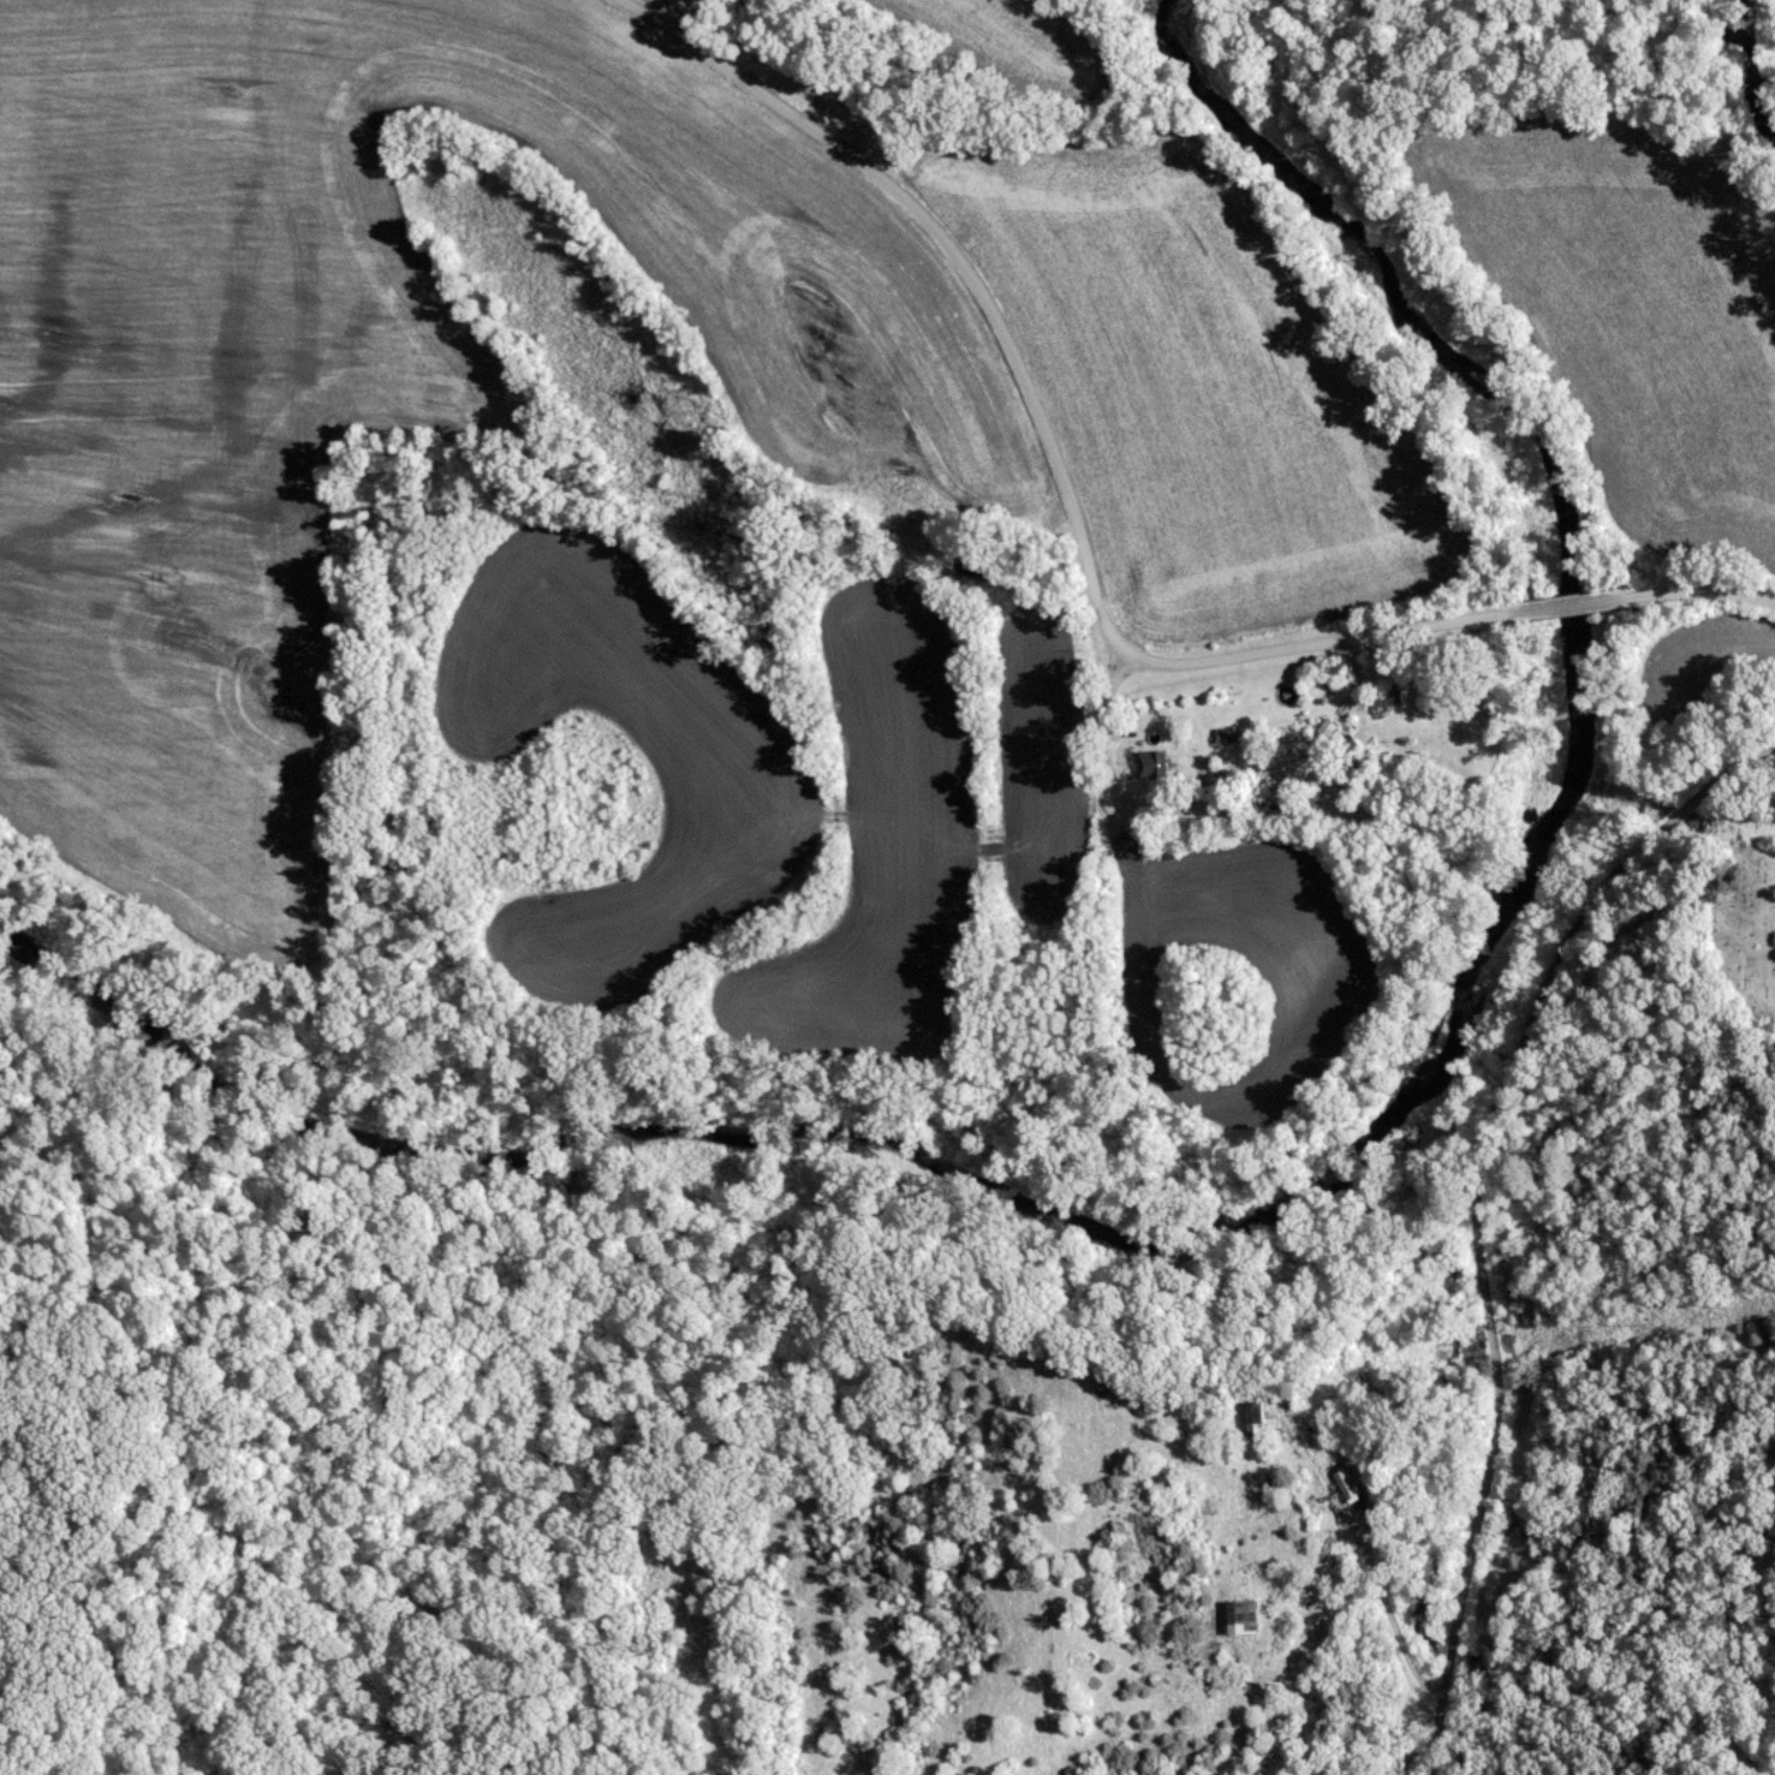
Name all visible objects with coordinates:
road: (1042, 431)
road: (1702, 592)
road: (1566, 606)
building: (1389, 699)
building: (1223, 737)
road: (1739, 763)
building: (1155, 764)
park: (1741, 931)
river: (1326, 1210)
road: (1476, 1247)
building: (1251, 1419)
building: (1243, 1616)

